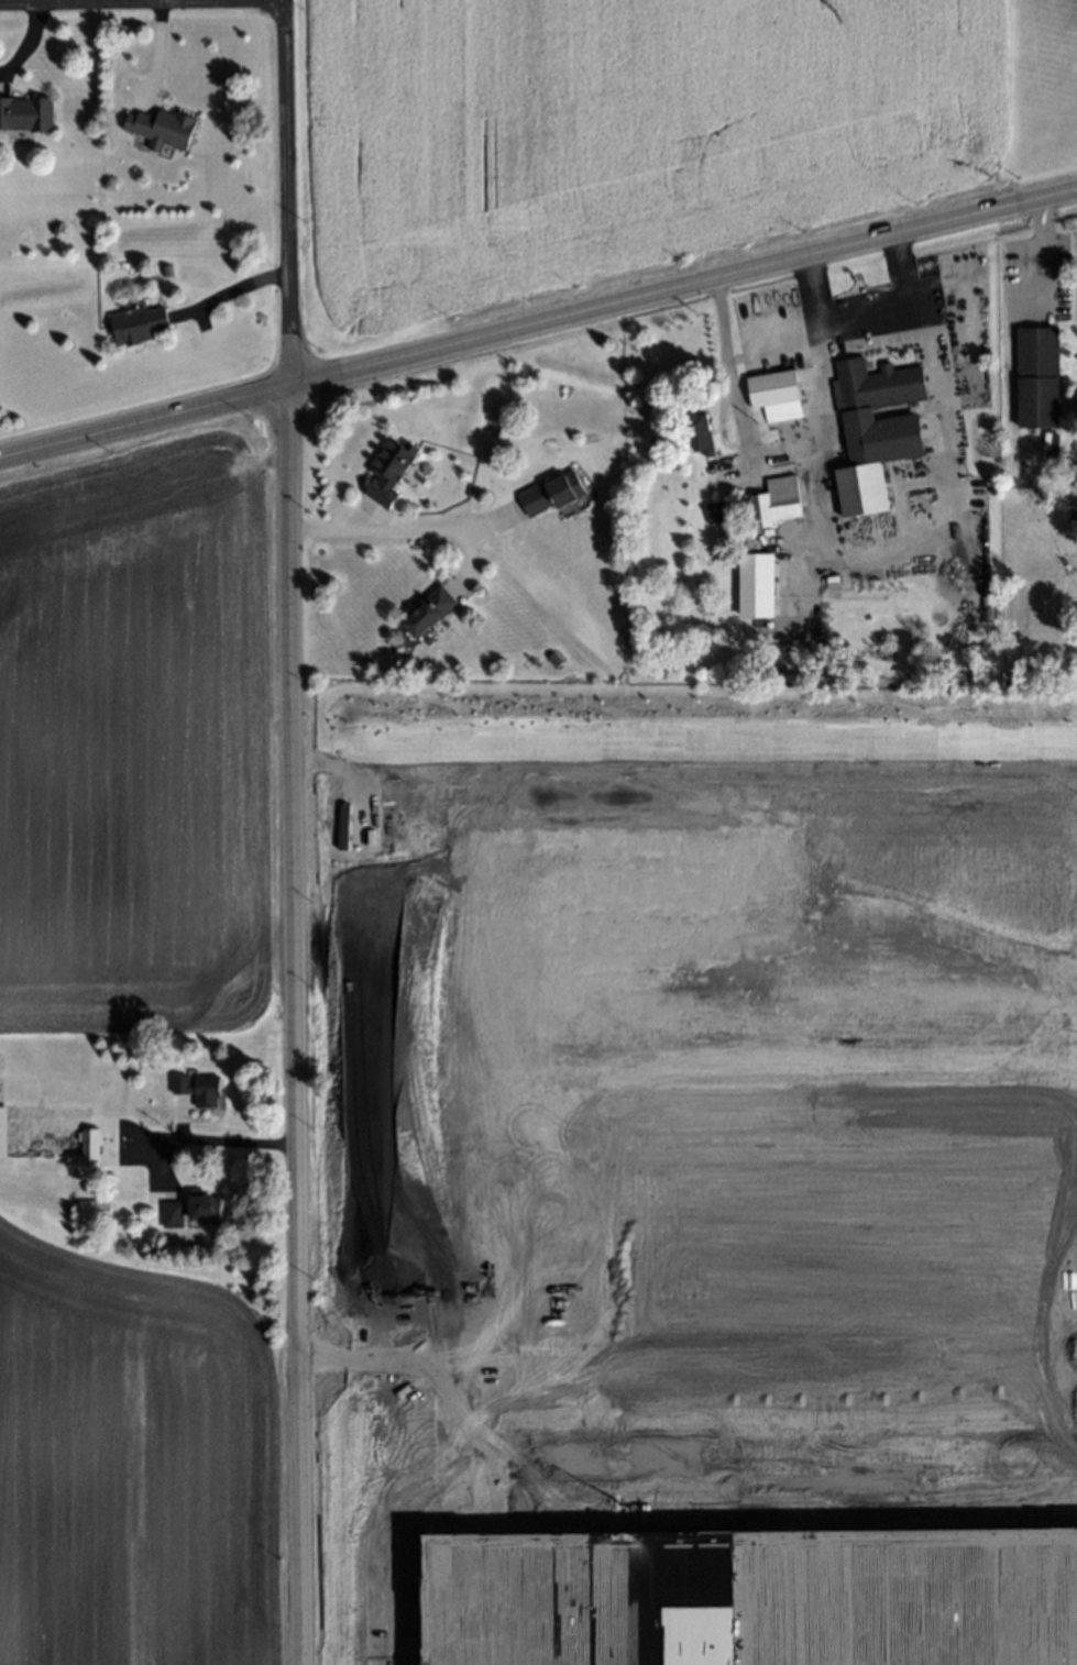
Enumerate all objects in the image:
building: (24, 115)
building: (157, 128)
road: (281, 194)
road: (904, 265)
road: (811, 288)
road: (224, 293)
building: (132, 321)
road: (538, 321)
road: (1008, 352)
building: (1035, 376)
building: (772, 393)
building: (1074, 401)
building: (870, 426)
building: (699, 434)
building: (389, 472)
building: (548, 492)
building: (776, 503)
building: (717, 515)
road: (954, 523)
road: (398, 529)
building: (752, 586)
building: (425, 610)
road: (288, 1026)
building: (195, 1087)
building: (0, 1129)
road: (211, 1138)
building: (85, 1146)
crop: (691, 1173)
building: (198, 1203)
building: (88, 1205)
building: (168, 1212)

